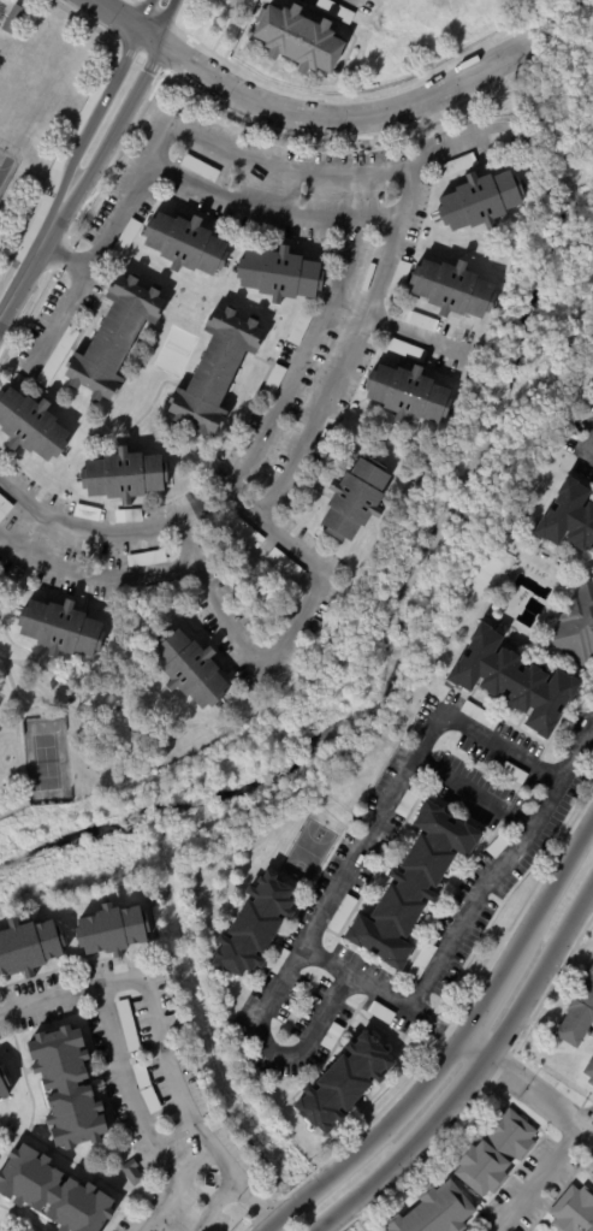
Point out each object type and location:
road: (352, 1)
building: (333, 10)
road: (111, 17)
road: (143, 17)
building: (12, 18)
road: (87, 22)
road: (165, 23)
road: (529, 23)
road: (226, 24)
road: (172, 25)
building: (297, 39)
road: (148, 41)
road: (224, 46)
road: (322, 84)
road: (361, 95)
road: (93, 113)
road: (344, 116)
road: (115, 126)
road: (192, 128)
building: (526, 137)
road: (59, 158)
building: (455, 165)
park: (5, 166)
building: (198, 167)
building: (479, 200)
road: (30, 209)
road: (271, 209)
building: (125, 237)
building: (184, 243)
road: (65, 253)
road: (31, 255)
building: (279, 273)
building: (397, 279)
building: (451, 288)
building: (416, 320)
building: (298, 324)
building: (112, 337)
road: (349, 348)
building: (405, 349)
park: (176, 351)
building: (57, 356)
building: (213, 371)
building: (271, 384)
building: (407, 393)
road: (149, 407)
building: (31, 425)
building: (324, 443)
road: (586, 446)
road: (237, 469)
building: (124, 475)
building: (352, 498)
building: (5, 504)
building: (87, 513)
building: (1, 514)
building: (128, 514)
building: (568, 517)
building: (245, 531)
building: (144, 557)
building: (284, 563)
road: (96, 575)
building: (162, 590)
building: (312, 627)
building: (576, 627)
building: (60, 628)
road: (285, 635)
road: (10, 643)
road: (26, 661)
building: (189, 668)
building: (511, 681)
road: (35, 708)
building: (478, 715)
road: (17, 727)
park: (46, 762)
road: (140, 769)
building: (512, 773)
road: (473, 793)
building: (404, 804)
building: (498, 844)
park: (307, 852)
road: (499, 866)
road: (346, 875)
road: (558, 883)
building: (411, 884)
building: (340, 915)
building: (253, 925)
building: (113, 929)
building: (28, 947)
building: (277, 959)
building: (420, 960)
road: (542, 973)
road: (493, 992)
building: (379, 1012)
building: (577, 1013)
building: (128, 1025)
road: (449, 1034)
building: (331, 1036)
road: (160, 1048)
building: (588, 1070)
building: (140, 1075)
building: (343, 1083)
building: (67, 1088)
building: (2, 1091)
road: (459, 1095)
building: (149, 1101)
road: (410, 1105)
road: (138, 1117)
road: (588, 1136)
building: (492, 1152)
building: (178, 1153)
road: (407, 1154)
building: (130, 1171)
road: (540, 1182)
road: (314, 1190)
building: (52, 1195)
building: (143, 1199)
road: (255, 1203)
road: (352, 1203)
building: (434, 1211)
building: (573, 1211)
road: (272, 1225)

